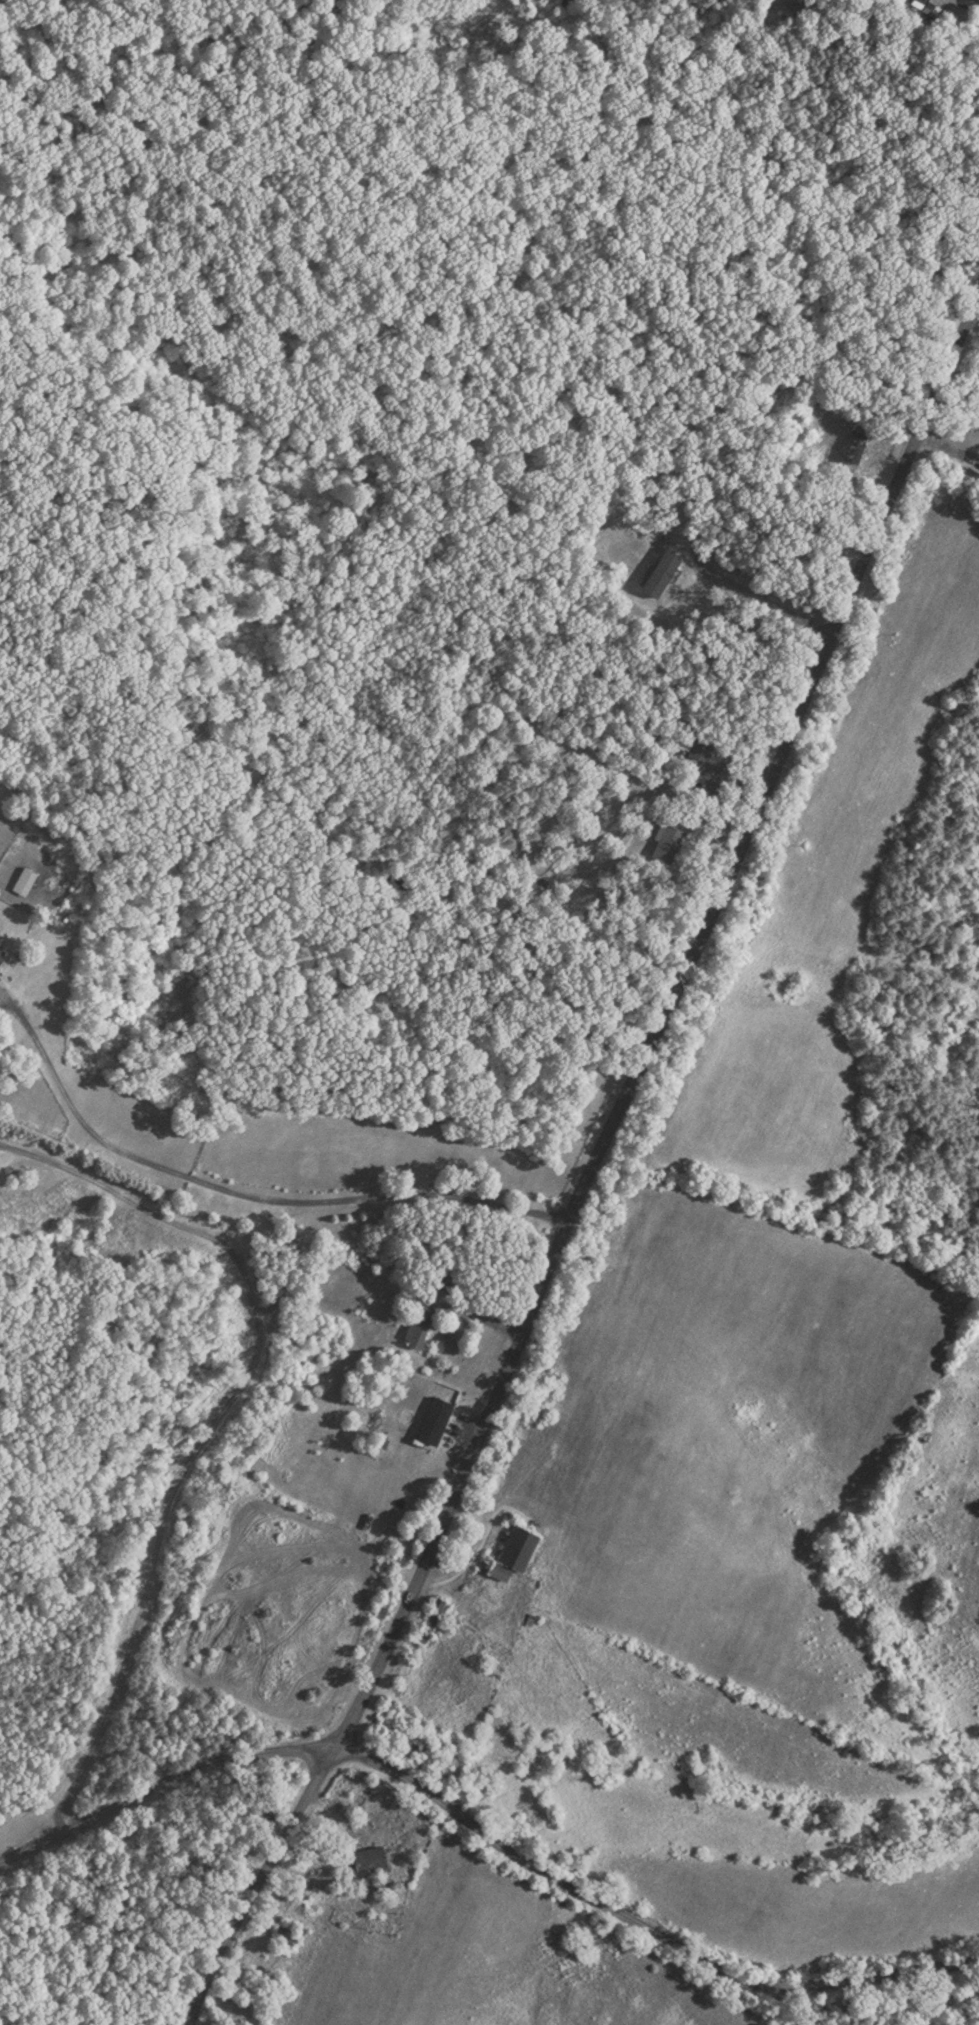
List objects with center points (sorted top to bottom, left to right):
road: (974, 321)
building: (851, 443)
building: (659, 569)
road: (762, 606)
building: (27, 877)
building: (3, 949)
road: (592, 1166)
road: (238, 1192)
building: (418, 1324)
building: (306, 1338)
road: (218, 1417)
building: (438, 1419)
building: (507, 1550)
building: (435, 1602)
road: (487, 1832)
building: (367, 1855)

